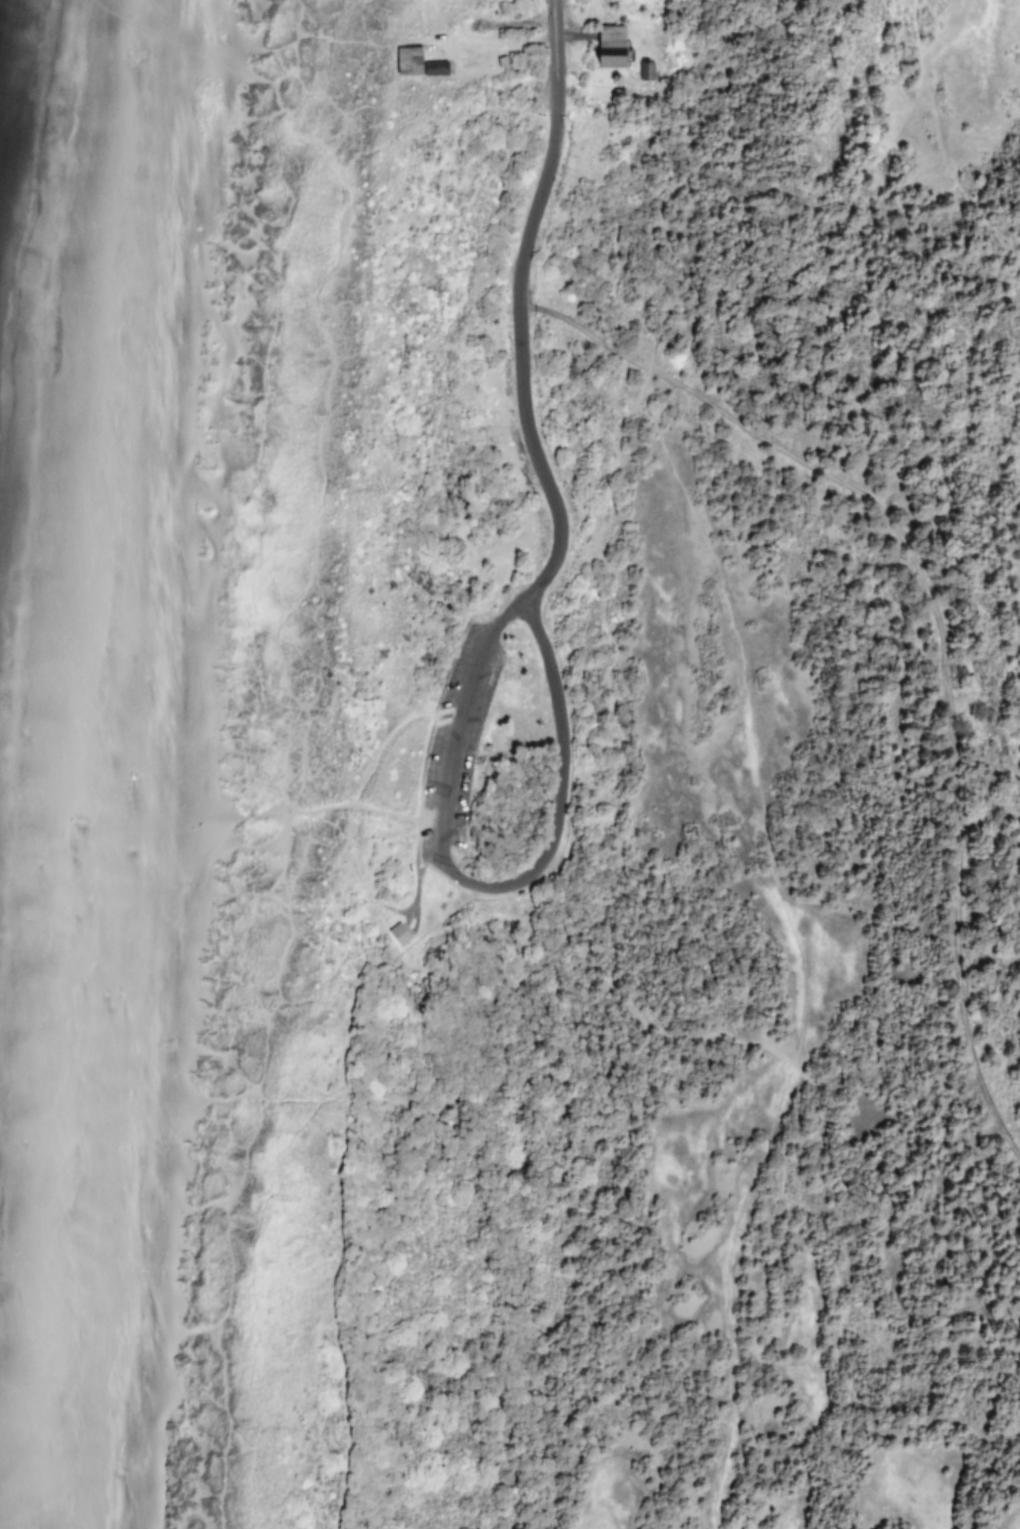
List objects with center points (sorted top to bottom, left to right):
road: (307, 31)
building: (606, 43)
building: (404, 58)
building: (431, 66)
building: (645, 68)
road: (382, 104)
road: (518, 305)
road: (385, 745)
road: (340, 803)
parking lot: (424, 826)
road: (479, 883)
building: (395, 931)
road: (275, 1097)
road: (344, 1162)

